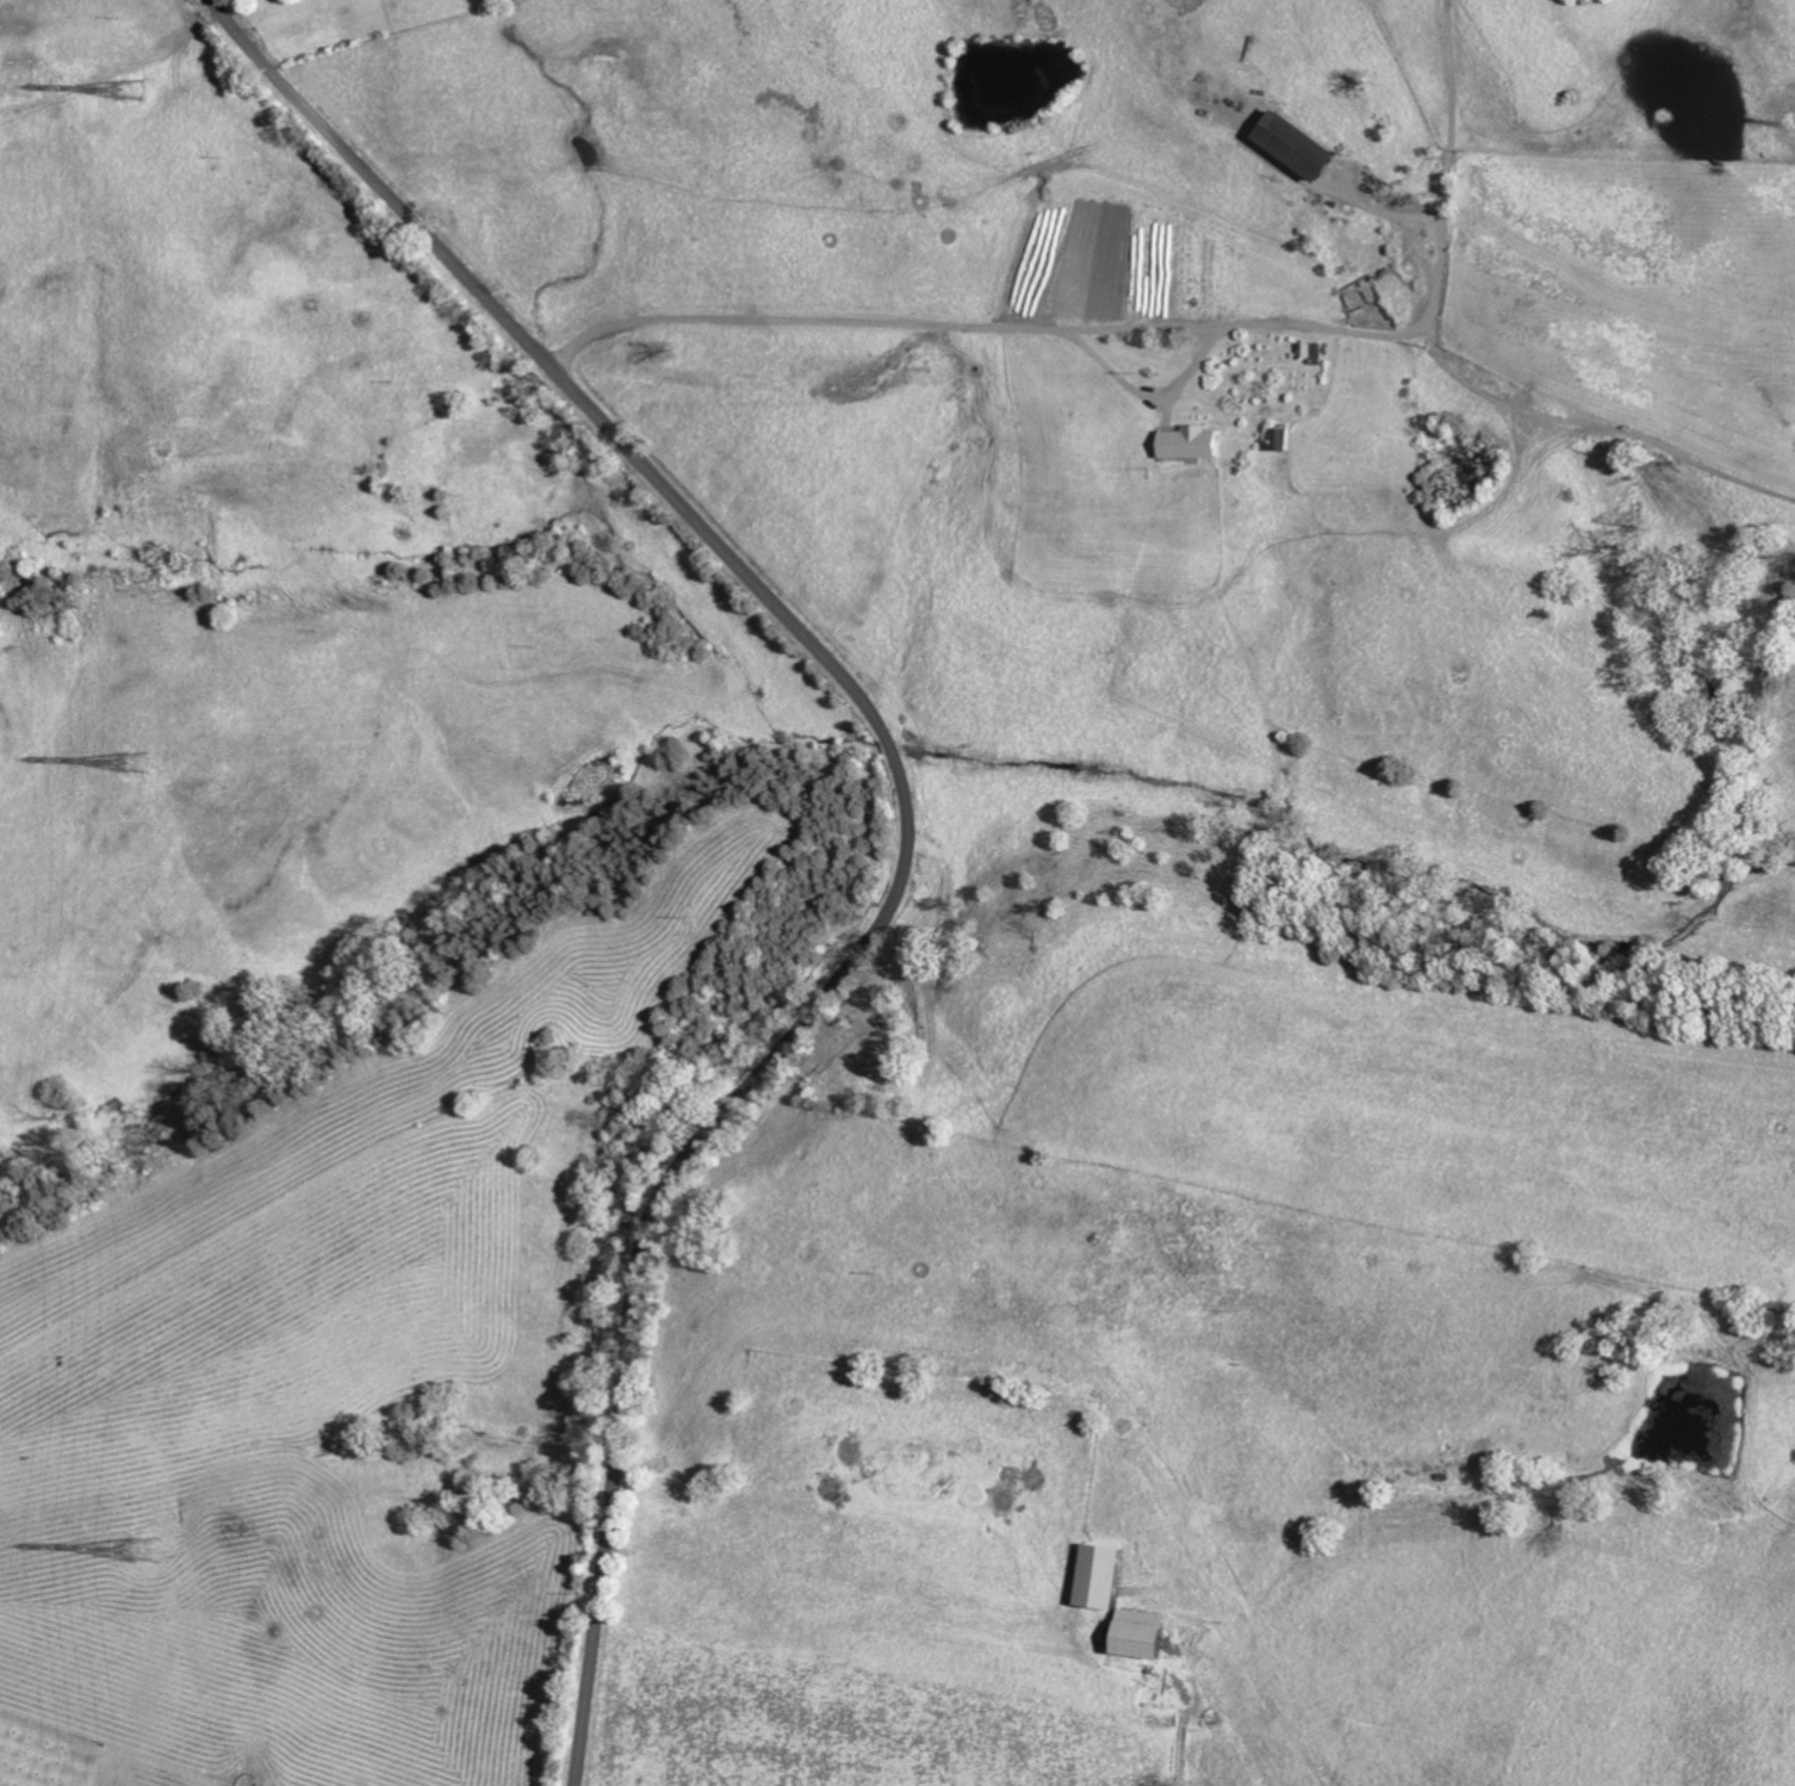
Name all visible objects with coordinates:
power tower: (125, 91)
building: (1299, 147)
road: (1148, 324)
building: (1281, 440)
building: (1192, 444)
power tower: (132, 761)
road: (906, 805)
power tower: (145, 1551)
building: (1098, 1576)
building: (1138, 1633)

